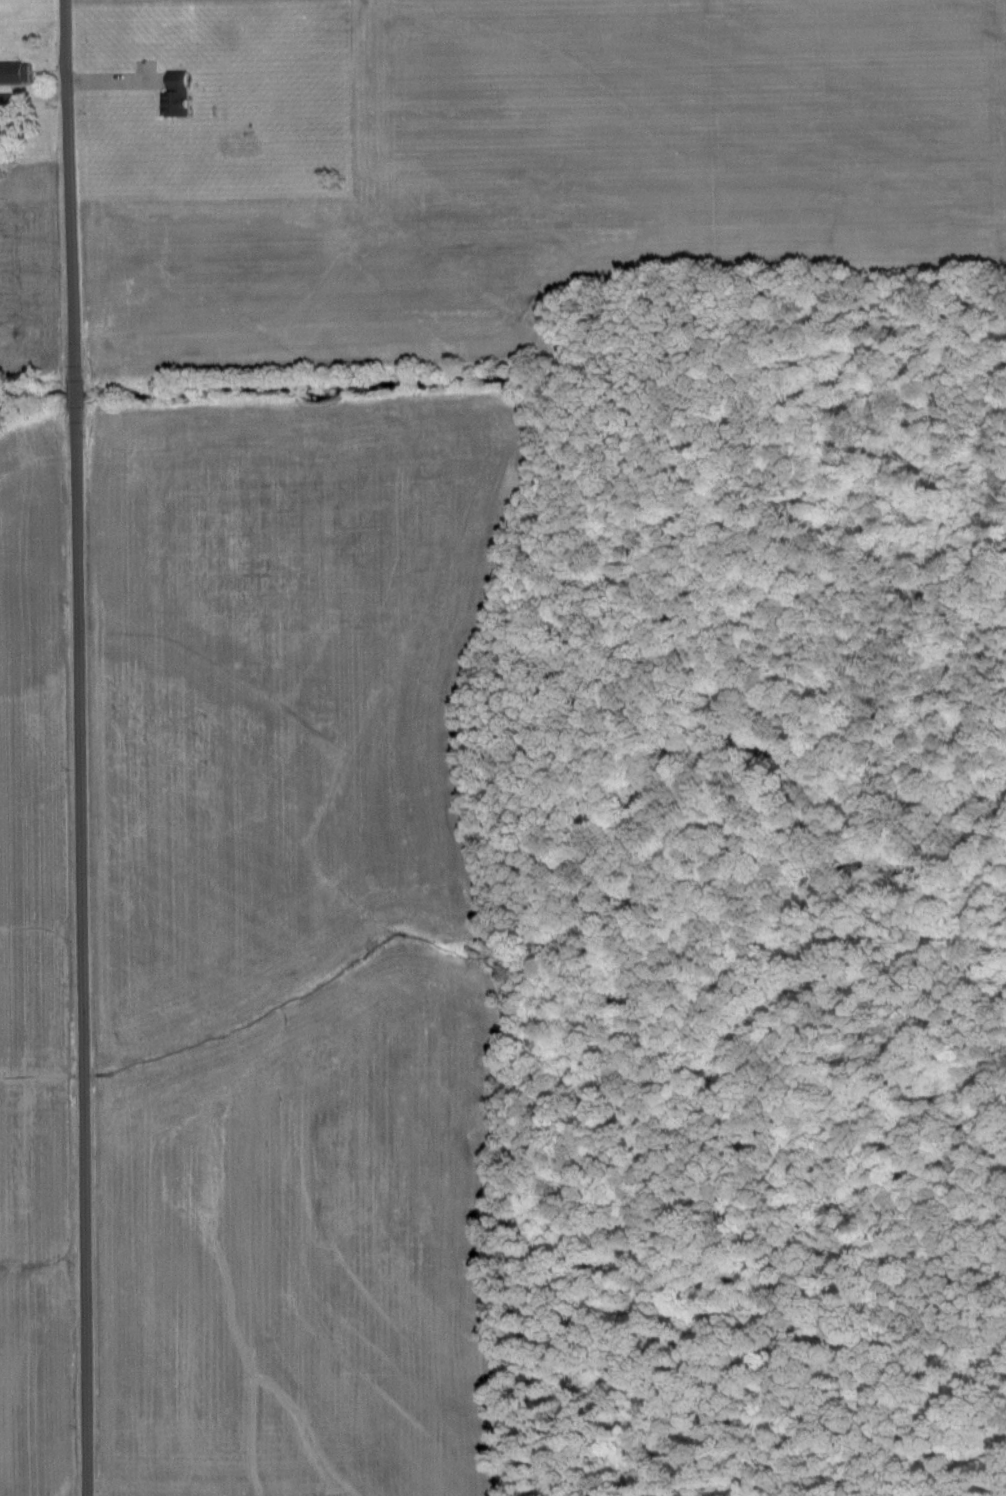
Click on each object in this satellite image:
building: (14, 72)
road: (34, 81)
building: (175, 95)
road: (82, 747)

